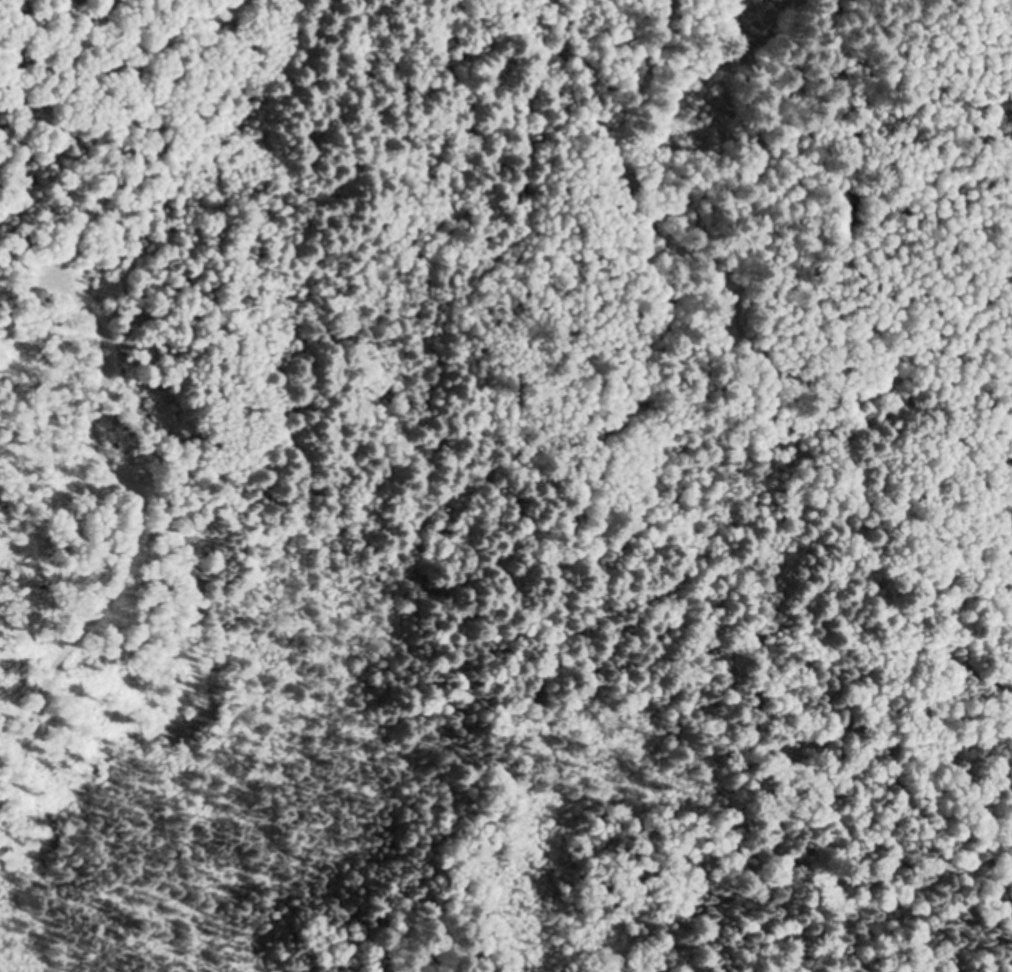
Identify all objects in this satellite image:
road: (944, 917)

